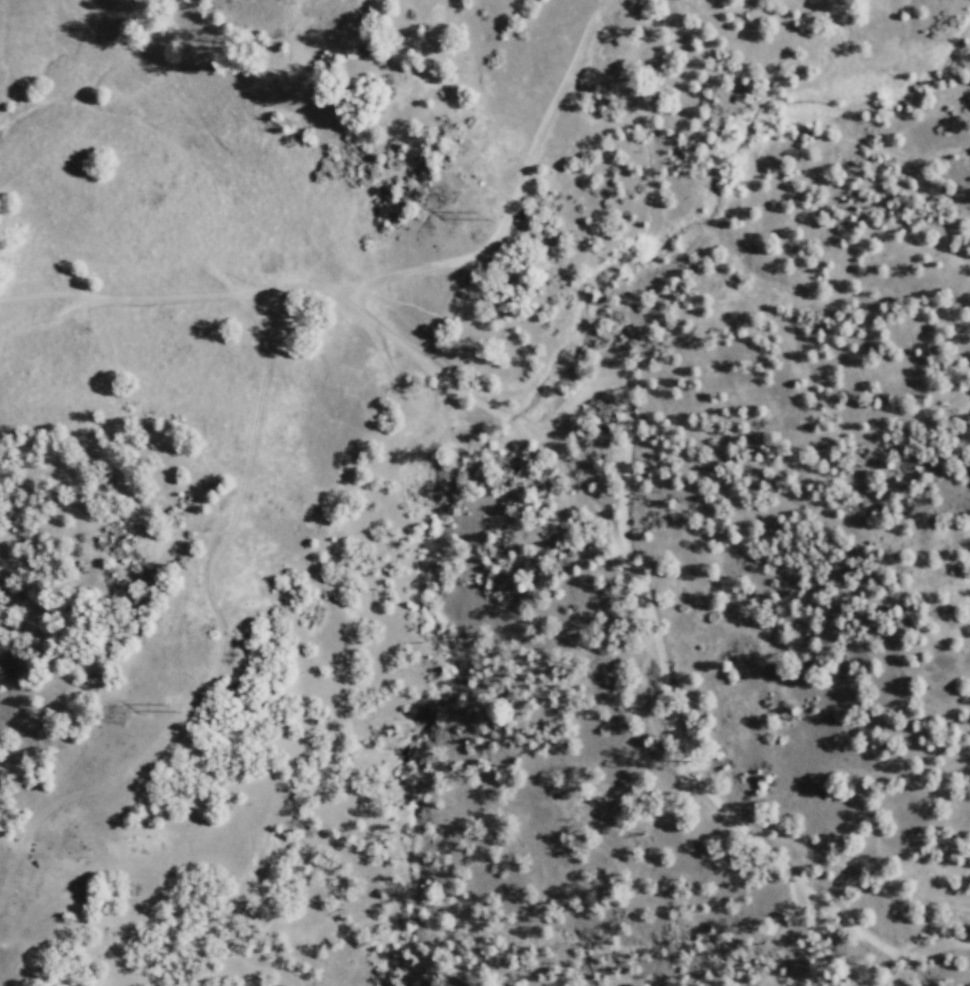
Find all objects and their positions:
power tower: (453, 209)
power tower: (484, 230)
road: (169, 294)
road: (638, 590)
power tower: (179, 718)
power tower: (126, 720)

